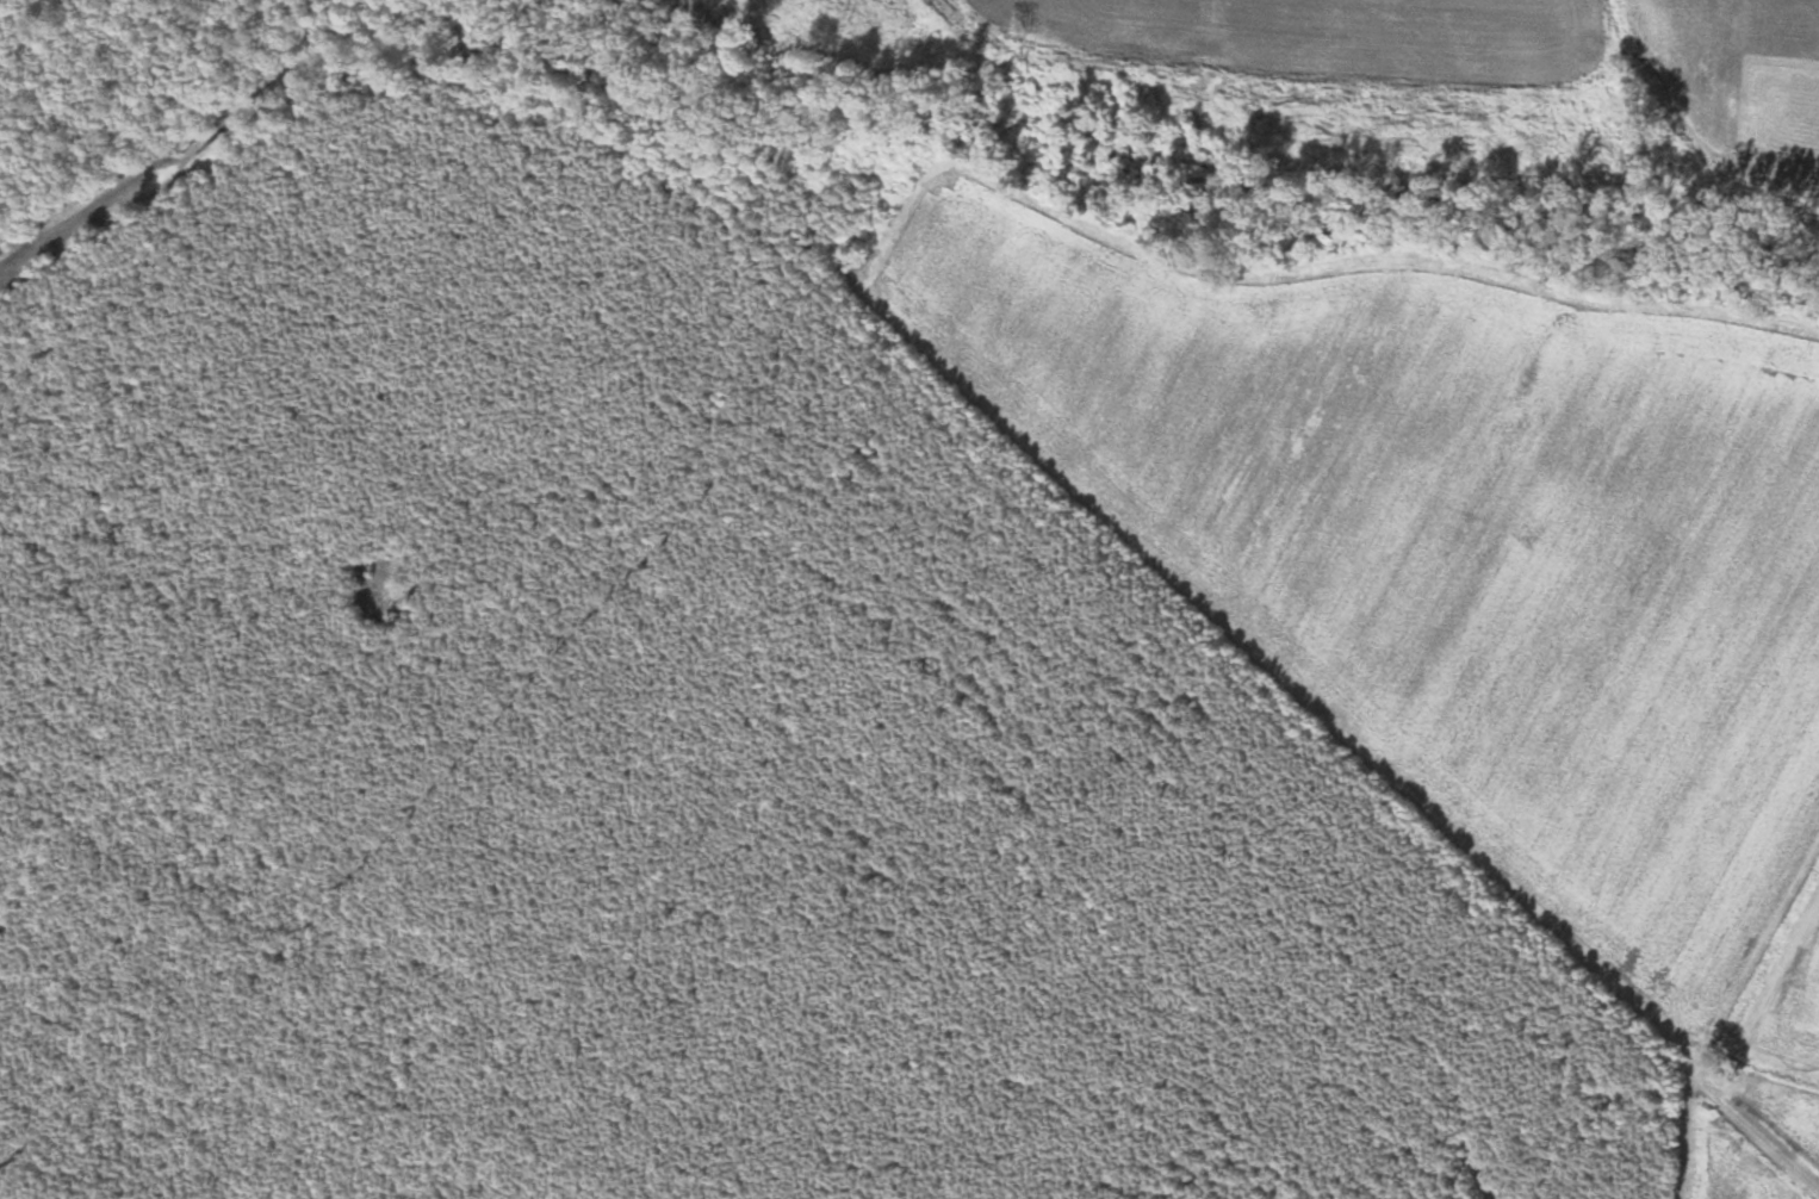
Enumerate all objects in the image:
road: (1726, 1042)

